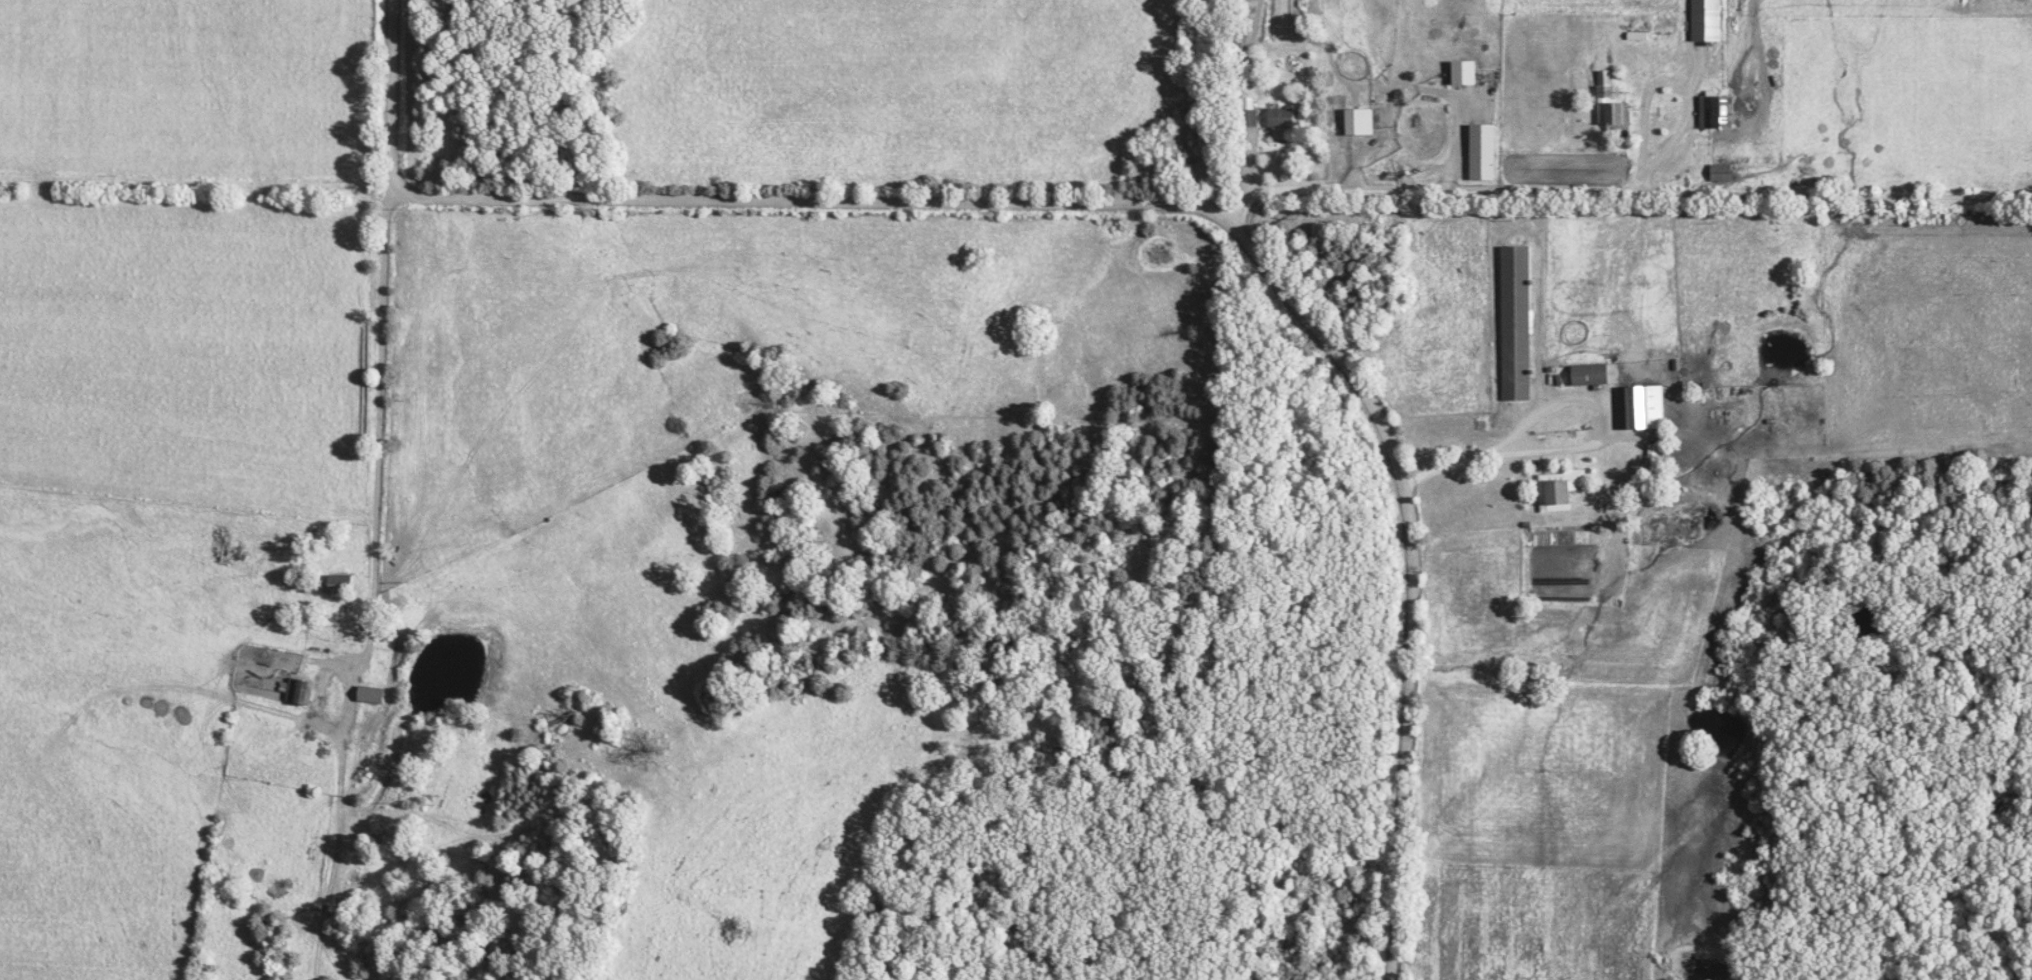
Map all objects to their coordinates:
building: (1704, 21)
building: (1470, 74)
road: (1637, 95)
building: (1608, 104)
building: (1714, 113)
building: (1286, 119)
building: (1364, 123)
building: (1487, 153)
road: (1349, 167)
building: (1719, 174)
road: (1630, 176)
road: (1241, 182)
road: (1636, 195)
road: (1125, 202)
building: (1519, 324)
building: (1598, 374)
road: (1566, 402)
building: (1650, 407)
road: (373, 487)
building: (1564, 487)
building: (303, 692)
building: (375, 695)

